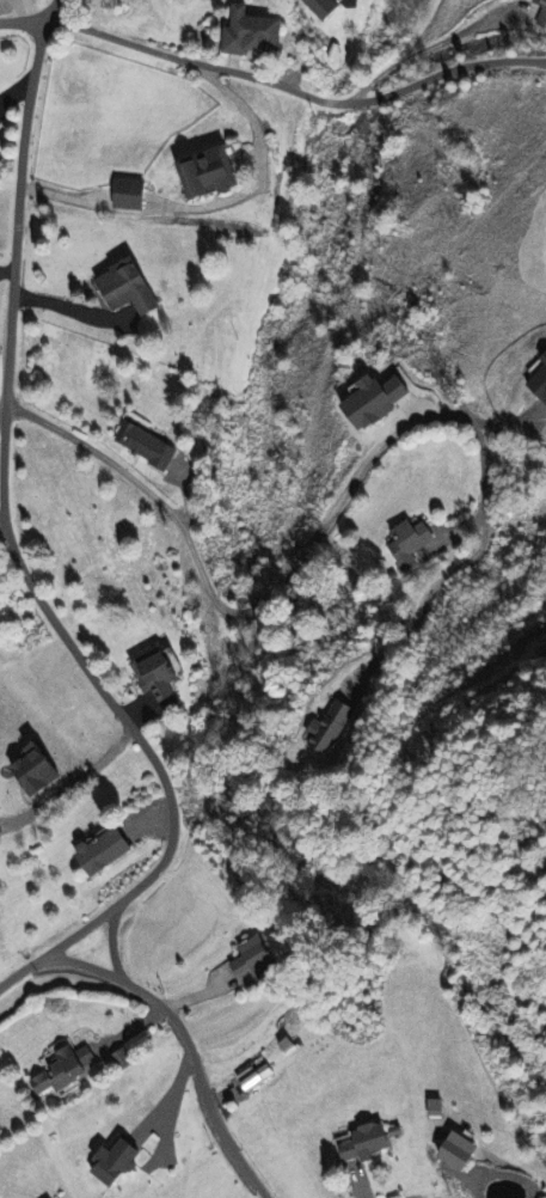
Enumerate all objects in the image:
building: (329, 8)
building: (542, 14)
road: (23, 27)
building: (254, 35)
road: (428, 48)
road: (544, 62)
road: (292, 94)
building: (211, 173)
building: (134, 196)
road: (208, 202)
building: (131, 289)
building: (380, 401)
building: (149, 447)
road: (1, 521)
building: (412, 544)
road: (10, 552)
road: (276, 587)
road: (424, 609)
building: (160, 676)
building: (333, 727)
building: (39, 772)
road: (70, 791)
building: (108, 852)
building: (254, 962)
road: (182, 1051)
building: (67, 1071)
building: (252, 1080)
building: (368, 1144)
building: (464, 1154)
building: (118, 1165)

